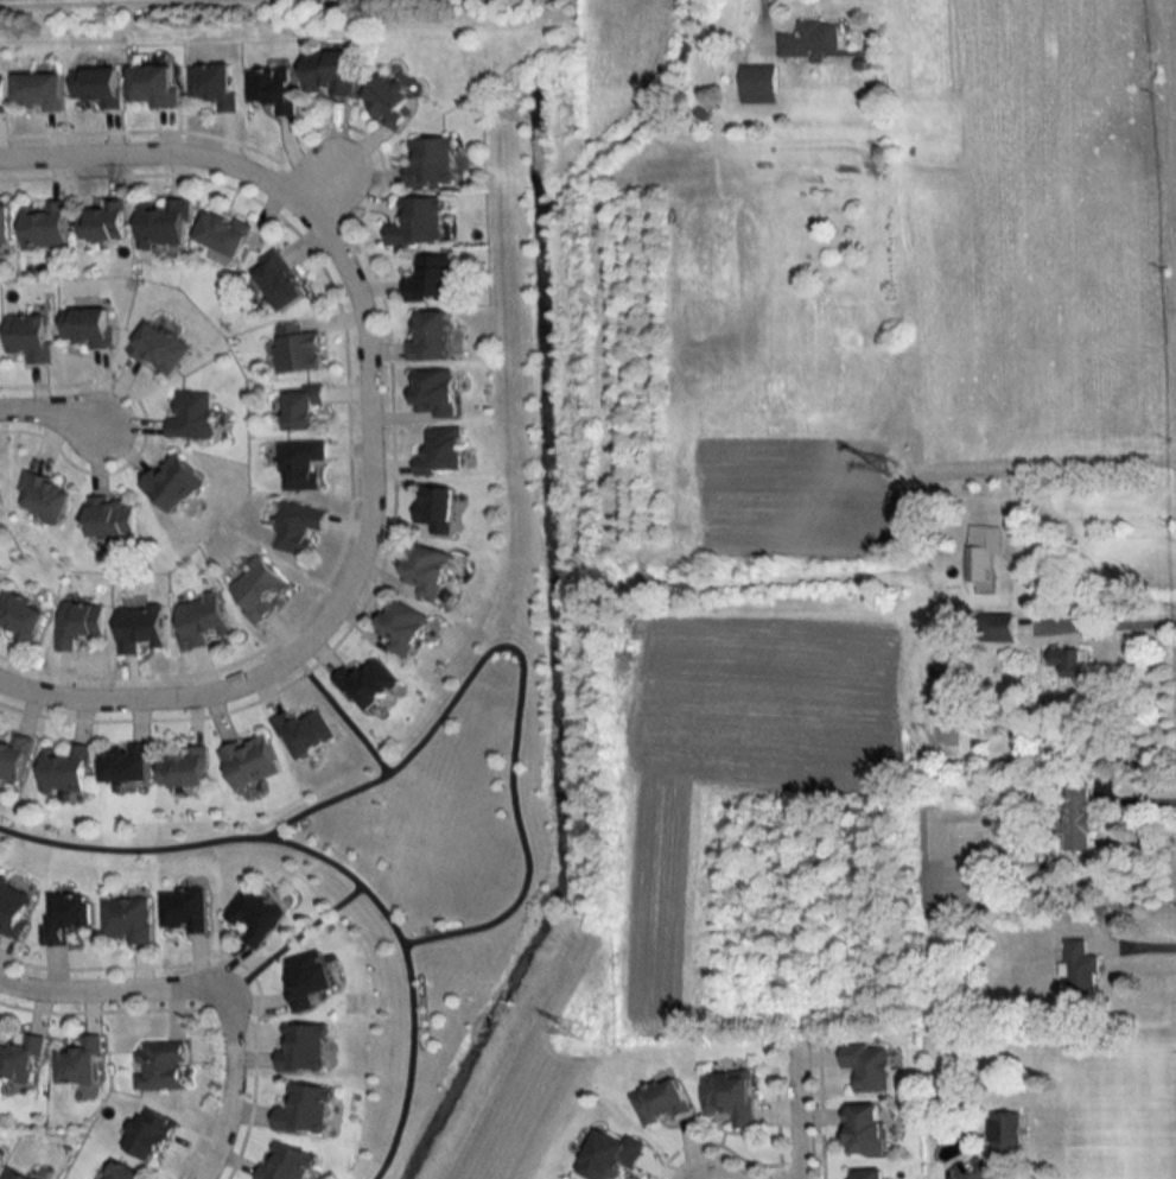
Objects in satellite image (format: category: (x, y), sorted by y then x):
building: (811, 40)
building: (328, 72)
building: (212, 84)
building: (97, 85)
building: (152, 85)
building: (758, 85)
building: (271, 88)
building: (38, 90)
building: (1, 91)
building: (387, 100)
building: (430, 160)
road: (155, 161)
building: (102, 222)
building: (417, 222)
building: (4, 223)
building: (163, 223)
building: (44, 226)
building: (222, 233)
building: (430, 279)
building: (278, 281)
building: (87, 327)
building: (428, 336)
building: (28, 337)
building: (159, 348)
building: (295, 349)
building: (432, 393)
building: (301, 408)
building: (191, 414)
road: (53, 418)
building: (441, 452)
building: (300, 465)
power tower: (886, 468)
road: (370, 476)
building: (171, 482)
building: (43, 496)
crop: (792, 501)
building: (434, 511)
building: (110, 515)
building: (295, 526)
building: (979, 551)
building: (424, 570)
building: (256, 589)
building: (19, 615)
building: (201, 620)
building: (77, 623)
road: (1114, 623)
building: (401, 627)
building: (139, 628)
building: (996, 628)
building: (1067, 661)
building: (365, 684)
road: (514, 691)
road: (112, 709)
road: (338, 724)
building: (304, 731)
crop: (735, 748)
building: (13, 756)
building: (248, 761)
building: (123, 763)
building: (64, 768)
building: (180, 768)
road: (1136, 799)
building: (1075, 817)
road: (329, 877)
building: (13, 907)
building: (183, 909)
building: (65, 915)
building: (254, 915)
building: (126, 919)
road: (287, 956)
building: (1079, 968)
building: (305, 978)
road: (109, 997)
power tower: (587, 1033)
building: (301, 1047)
building: (20, 1059)
building: (78, 1064)
building: (160, 1065)
building: (865, 1066)
building: (729, 1096)
road: (233, 1098)
building: (657, 1102)
road: (800, 1109)
building: (303, 1110)
building: (864, 1130)
building: (1005, 1133)
building: (147, 1135)
building: (608, 1155)
building: (284, 1162)
building: (121, 1172)
building: (12, 1174)
building: (865, 1174)

